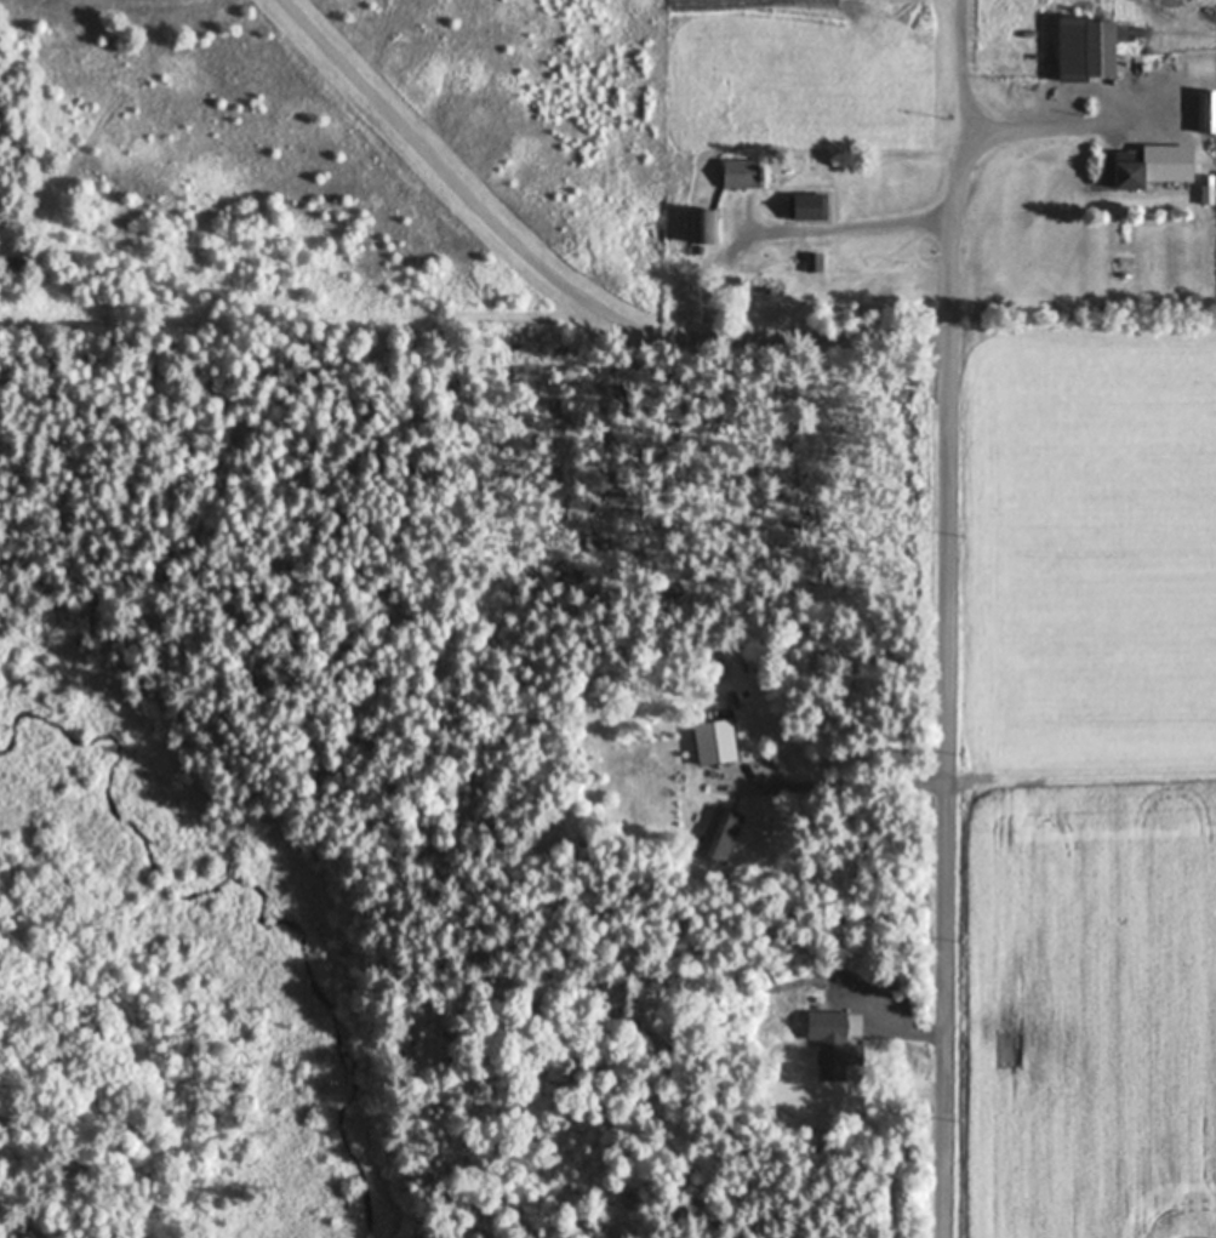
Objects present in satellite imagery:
building: (1092, 47)
building: (1209, 110)
building: (1134, 170)
building: (743, 172)
building: (810, 206)
building: (707, 224)
building: (815, 262)
road: (944, 738)
building: (718, 741)
building: (720, 833)
building: (829, 1051)

